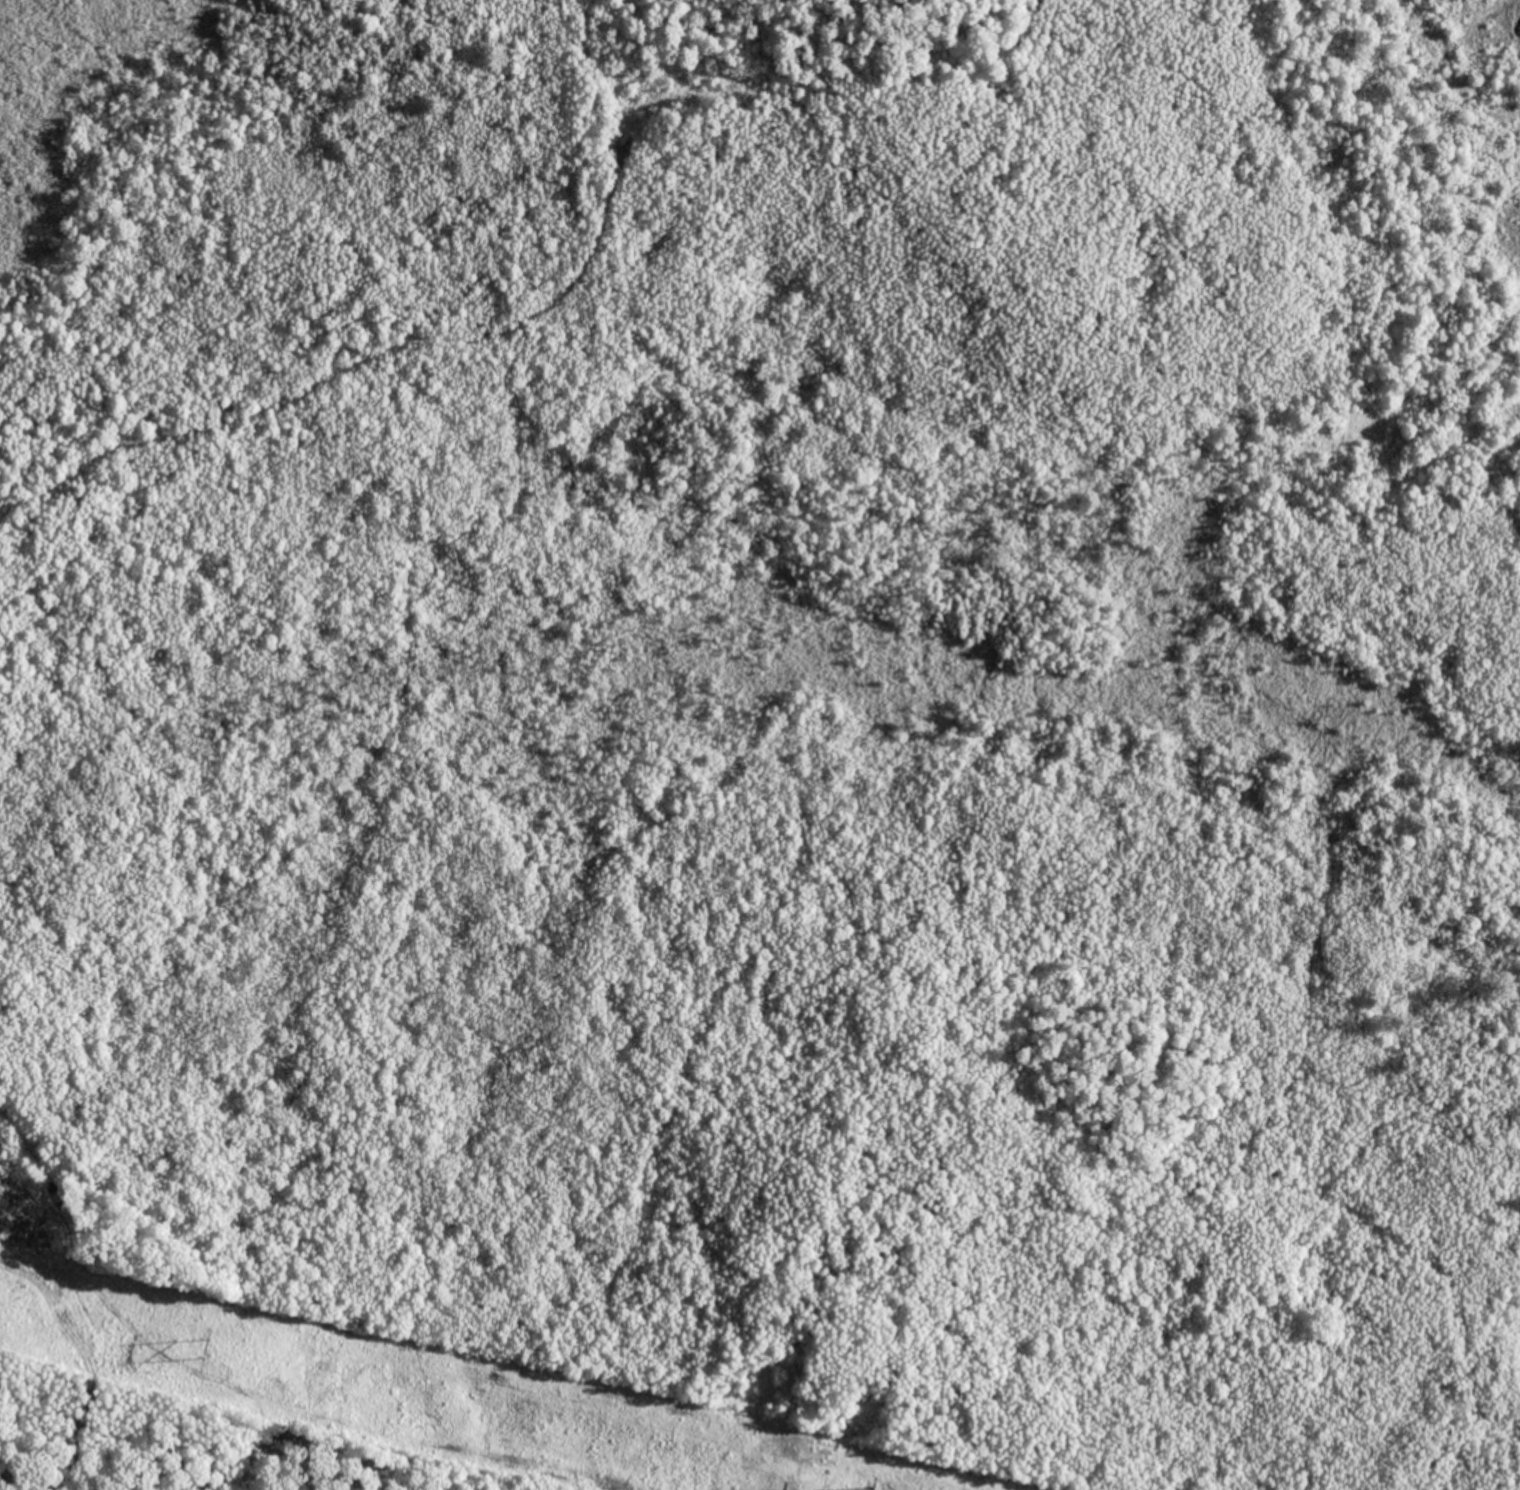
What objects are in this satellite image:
power tower: (206, 1351)

